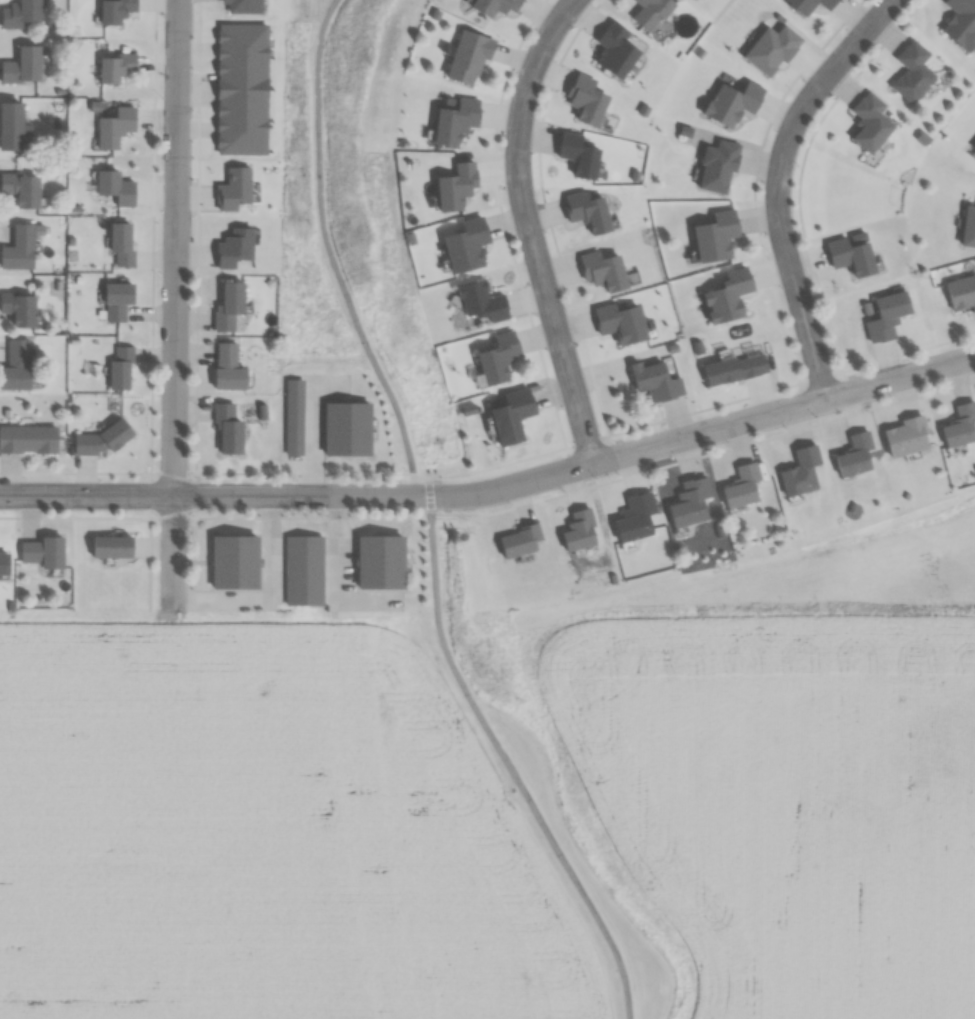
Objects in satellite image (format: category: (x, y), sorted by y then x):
building: (808, 5)
building: (242, 6)
building: (495, 6)
building: (115, 10)
building: (651, 12)
building: (20, 13)
building: (960, 22)
building: (771, 49)
building: (615, 50)
building: (467, 57)
building: (21, 66)
building: (115, 67)
building: (912, 73)
building: (585, 99)
building: (731, 103)
building: (455, 121)
building: (869, 123)
building: (10, 127)
building: (115, 127)
building: (974, 148)
building: (578, 155)
building: (718, 167)
road: (776, 183)
building: (455, 186)
building: (115, 187)
building: (21, 189)
building: (587, 210)
road: (528, 228)
building: (715, 236)
building: (121, 243)
building: (465, 245)
building: (19, 249)
building: (850, 256)
building: (603, 271)
building: (961, 292)
building: (726, 296)
building: (117, 299)
building: (481, 301)
road: (175, 303)
building: (228, 306)
building: (18, 309)
building: (886, 316)
building: (620, 323)
building: (497, 358)
building: (16, 366)
building: (227, 367)
building: (120, 369)
building: (734, 369)
building: (656, 383)
building: (294, 416)
building: (960, 426)
building: (228, 428)
building: (346, 429)
road: (313, 434)
building: (906, 437)
building: (27, 439)
road: (703, 454)
building: (854, 456)
road: (205, 472)
building: (800, 472)
building: (741, 486)
road: (496, 489)
building: (689, 502)
road: (430, 515)
building: (634, 517)
road: (215, 520)
building: (578, 530)
building: (518, 541)
building: (103, 553)
building: (35, 558)
building: (380, 561)
building: (234, 562)
building: (3, 563)
building: (304, 570)
road: (337, 577)
road: (272, 594)

